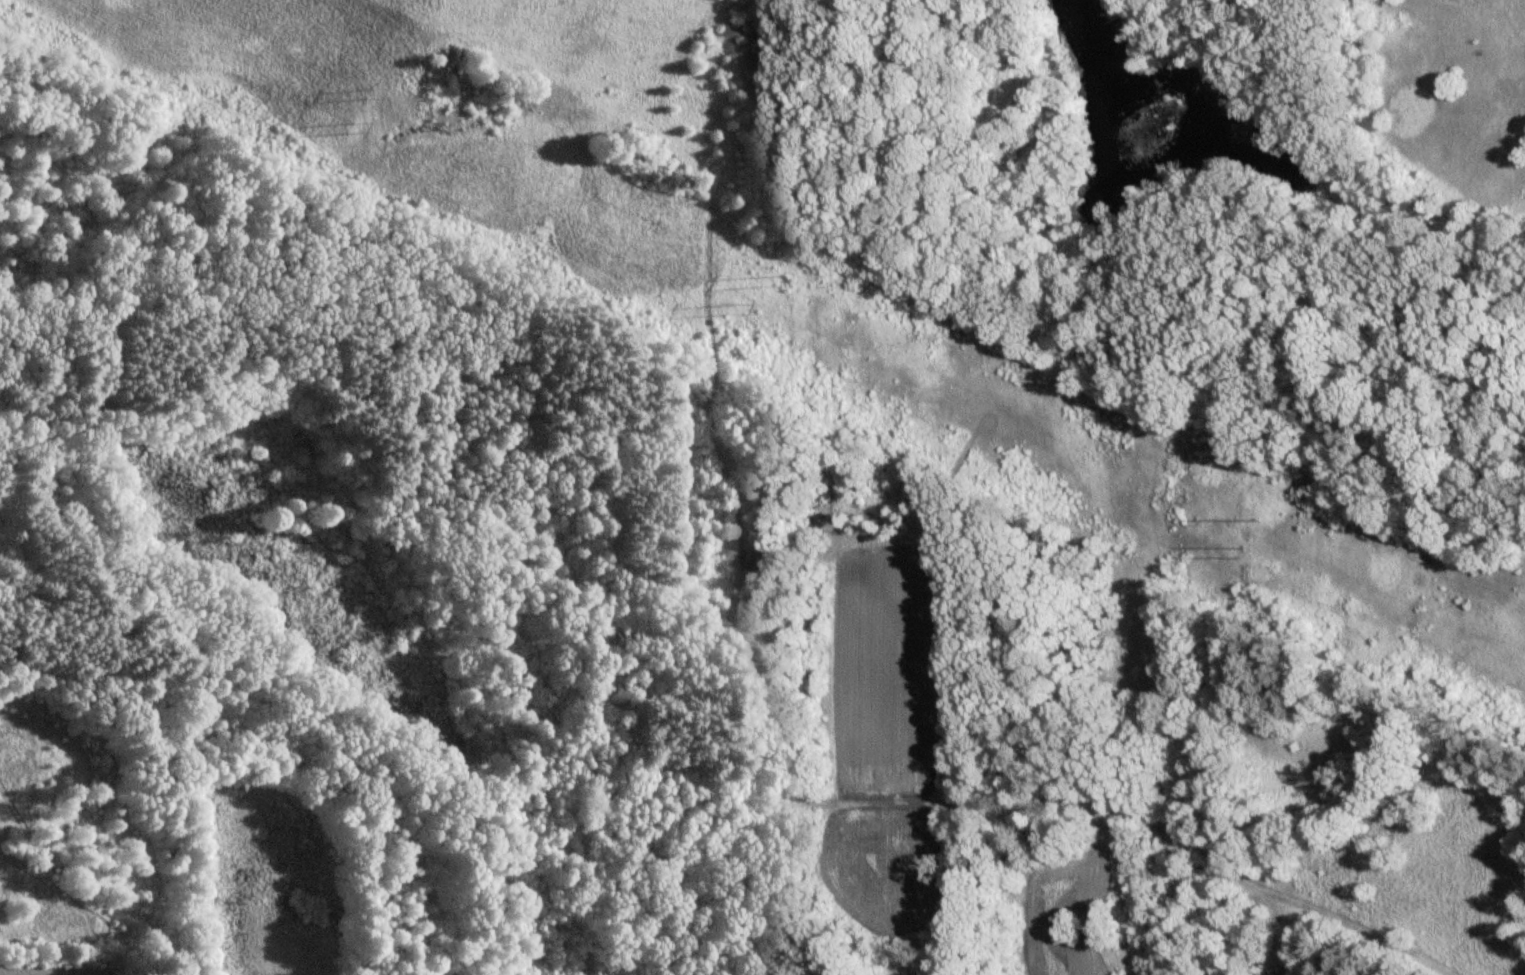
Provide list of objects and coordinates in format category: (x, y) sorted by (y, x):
power tower: (370, 89)
power tower: (351, 126)
power tower: (763, 278)
power tower: (728, 310)
power tower: (1261, 517)
power tower: (1246, 556)

